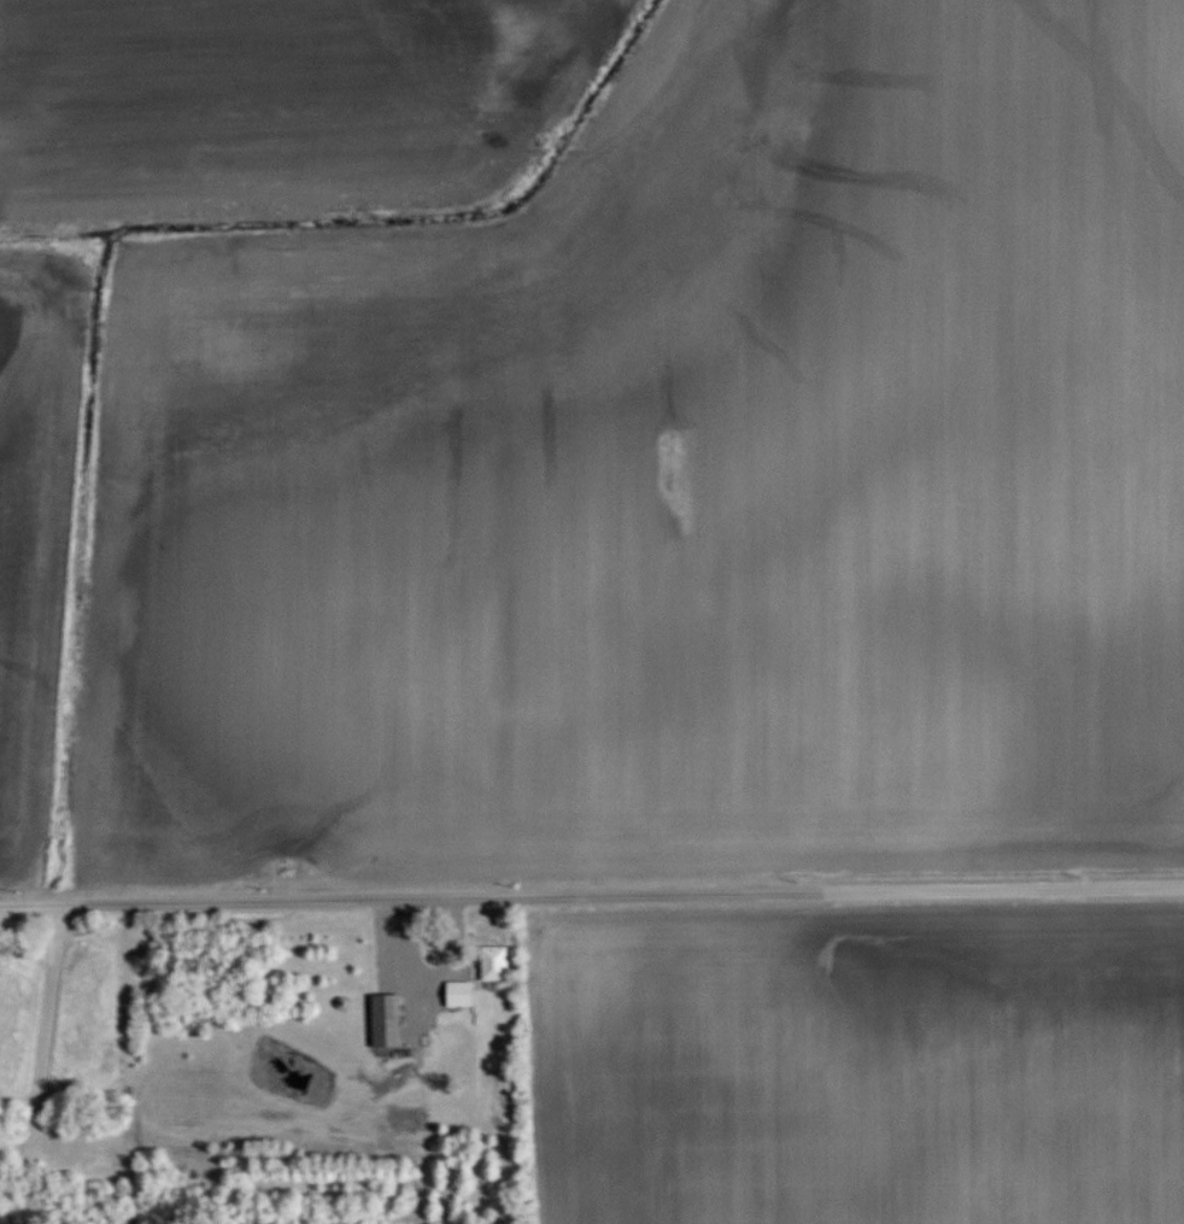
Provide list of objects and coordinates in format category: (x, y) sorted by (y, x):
road: (591, 894)
building: (497, 962)
building: (462, 992)
building: (388, 1019)
road: (46, 1035)

